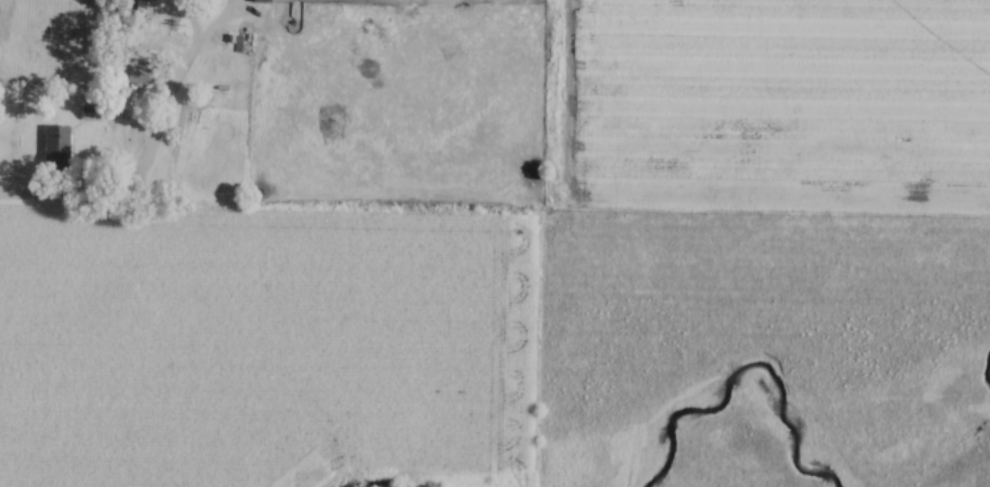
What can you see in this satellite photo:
building: (264, 0)
road: (507, 0)
building: (145, 9)
road: (185, 22)
road: (212, 25)
building: (143, 73)
building: (92, 113)
building: (59, 146)
road: (133, 174)

